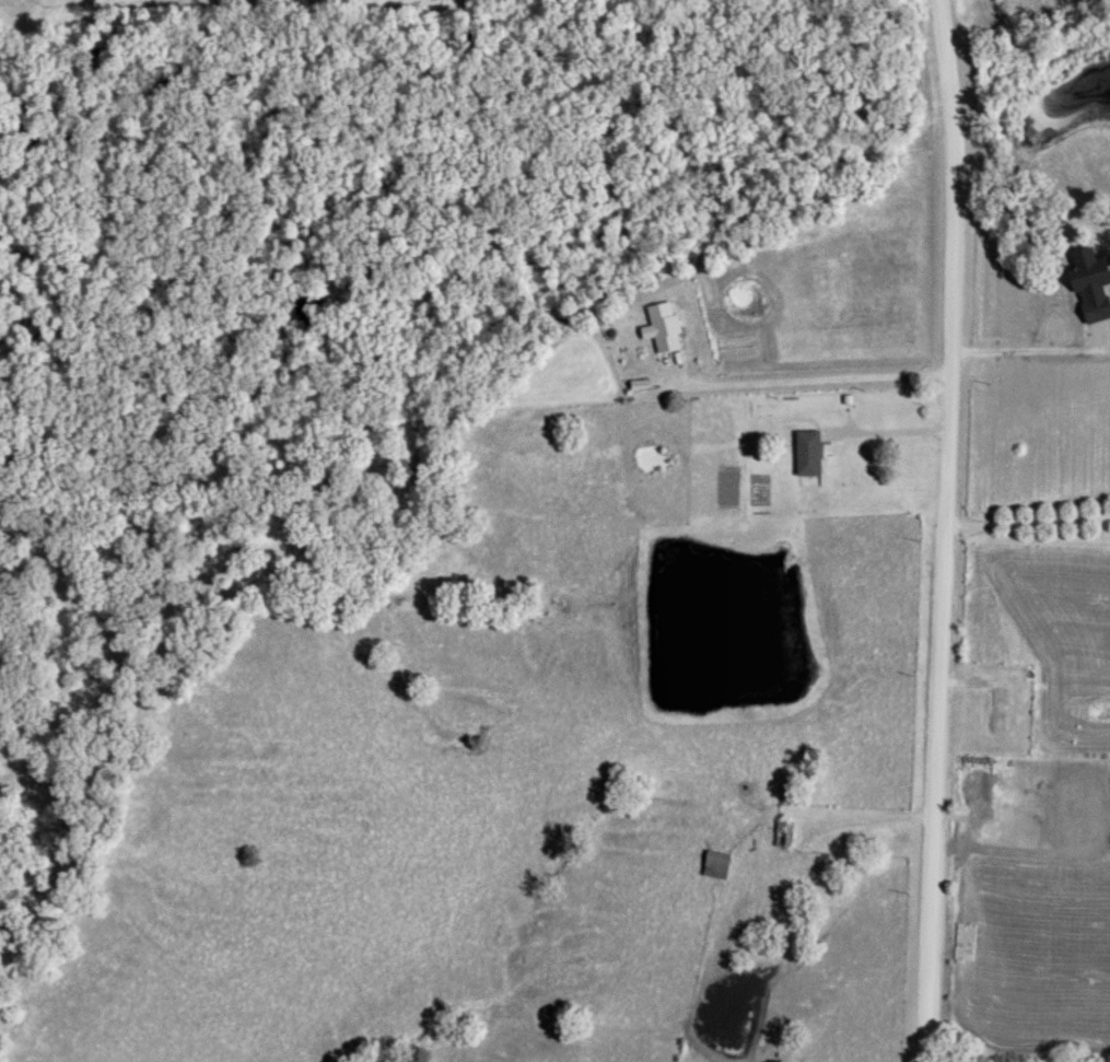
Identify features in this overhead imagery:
building: (1093, 280)
road: (1021, 349)
road: (805, 380)
road: (886, 433)
building: (809, 453)
road: (1027, 522)
road: (943, 530)
building: (997, 713)
building: (784, 833)
building: (717, 864)

